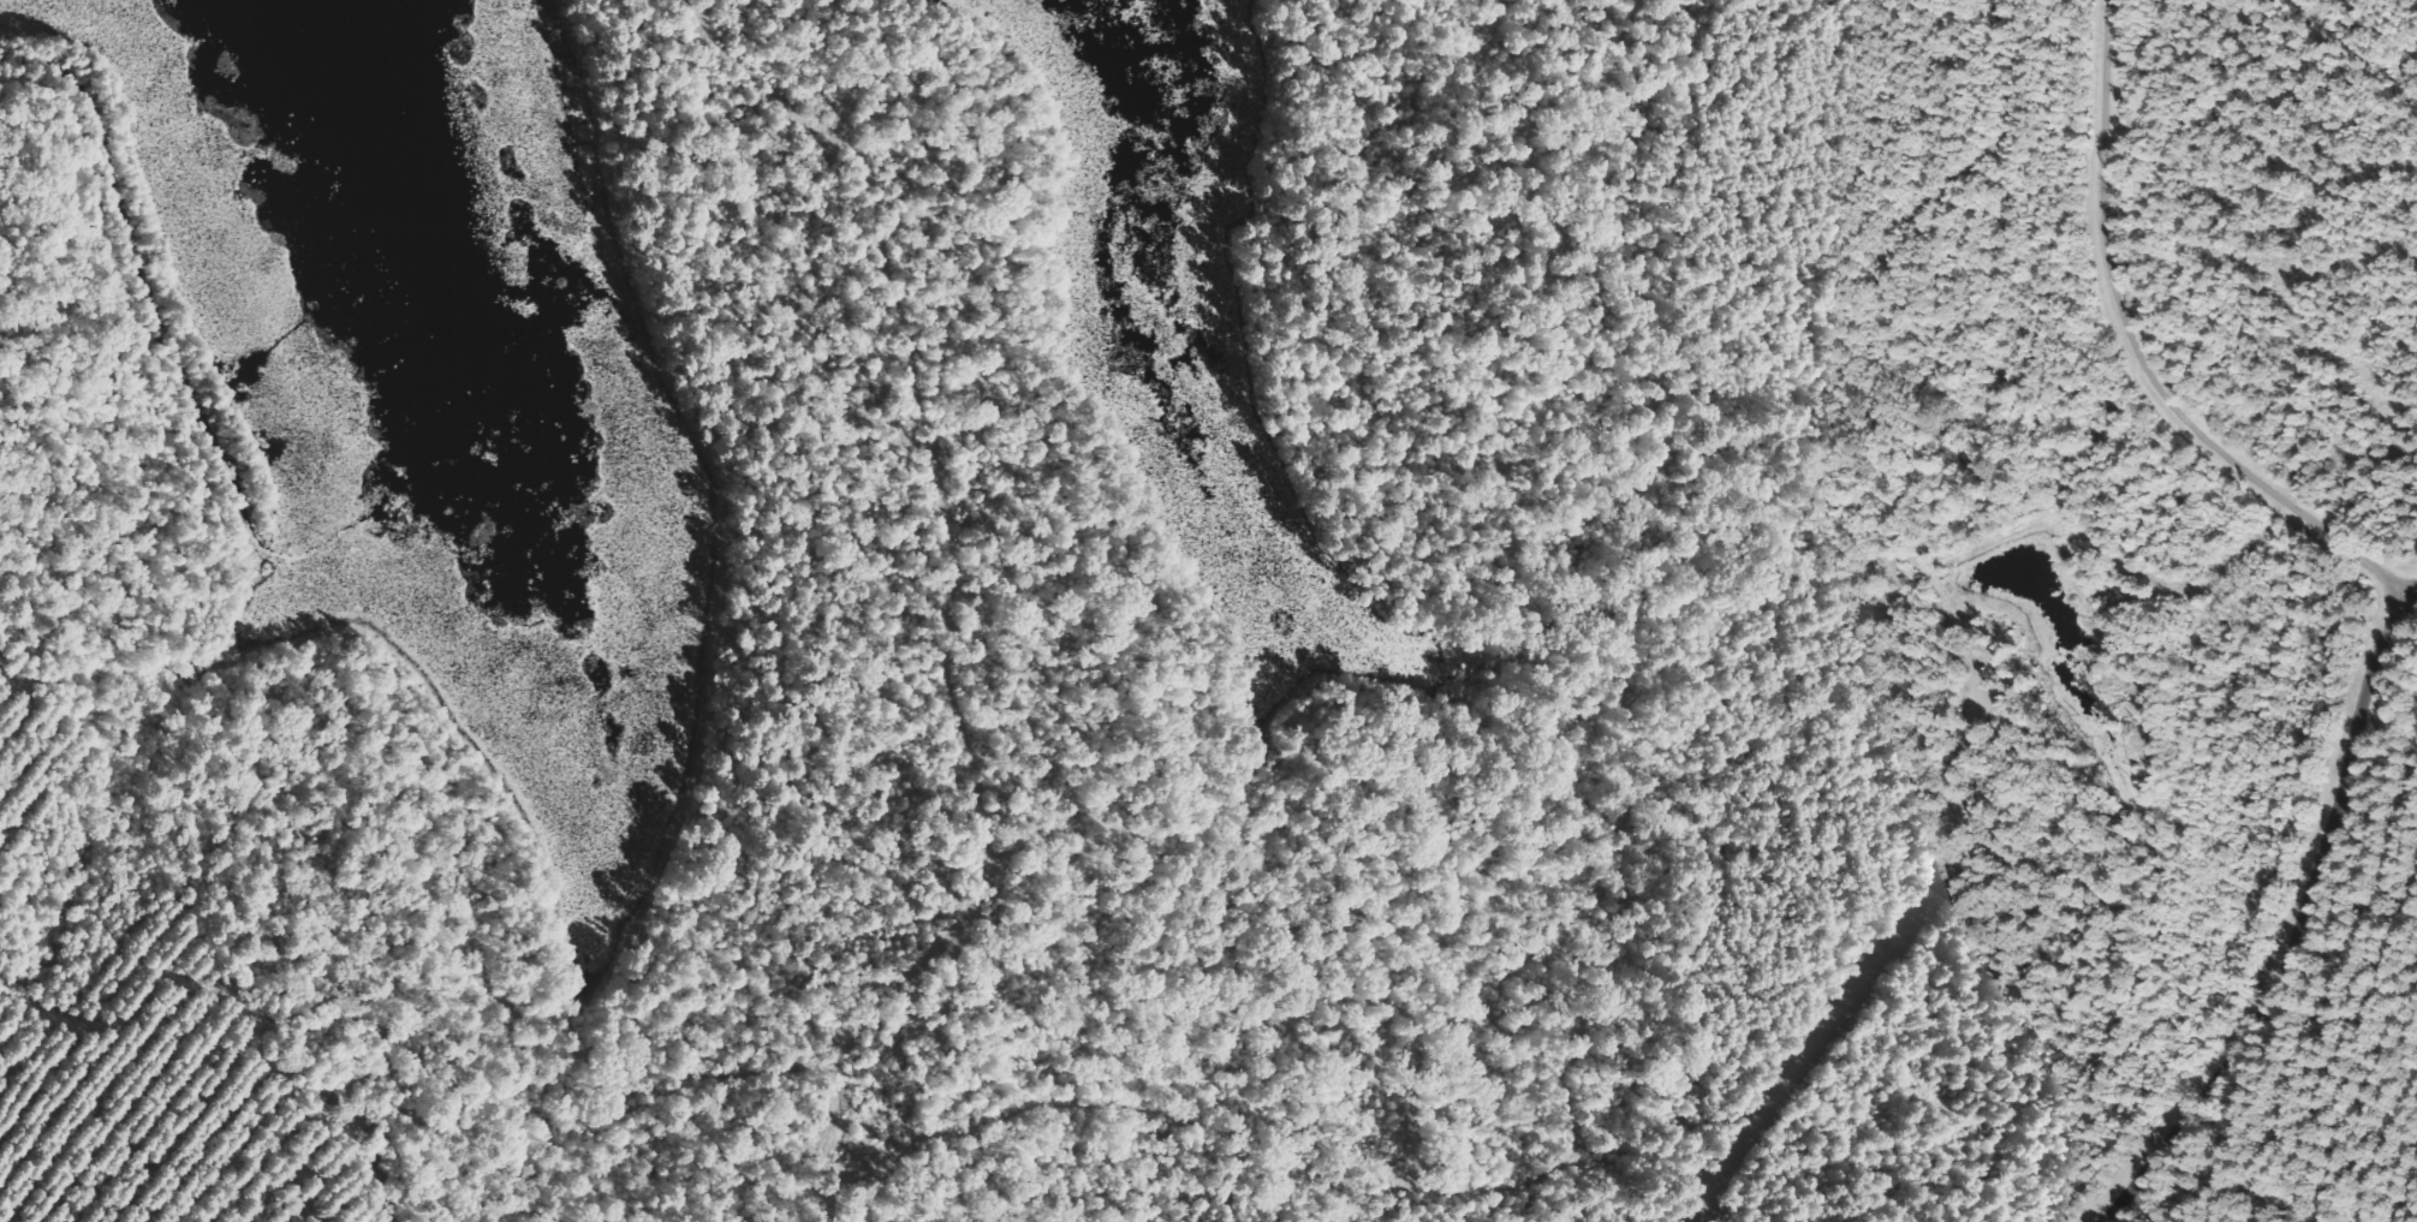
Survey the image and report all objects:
road: (2148, 357)
road: (2297, 930)
road: (24, 1110)

